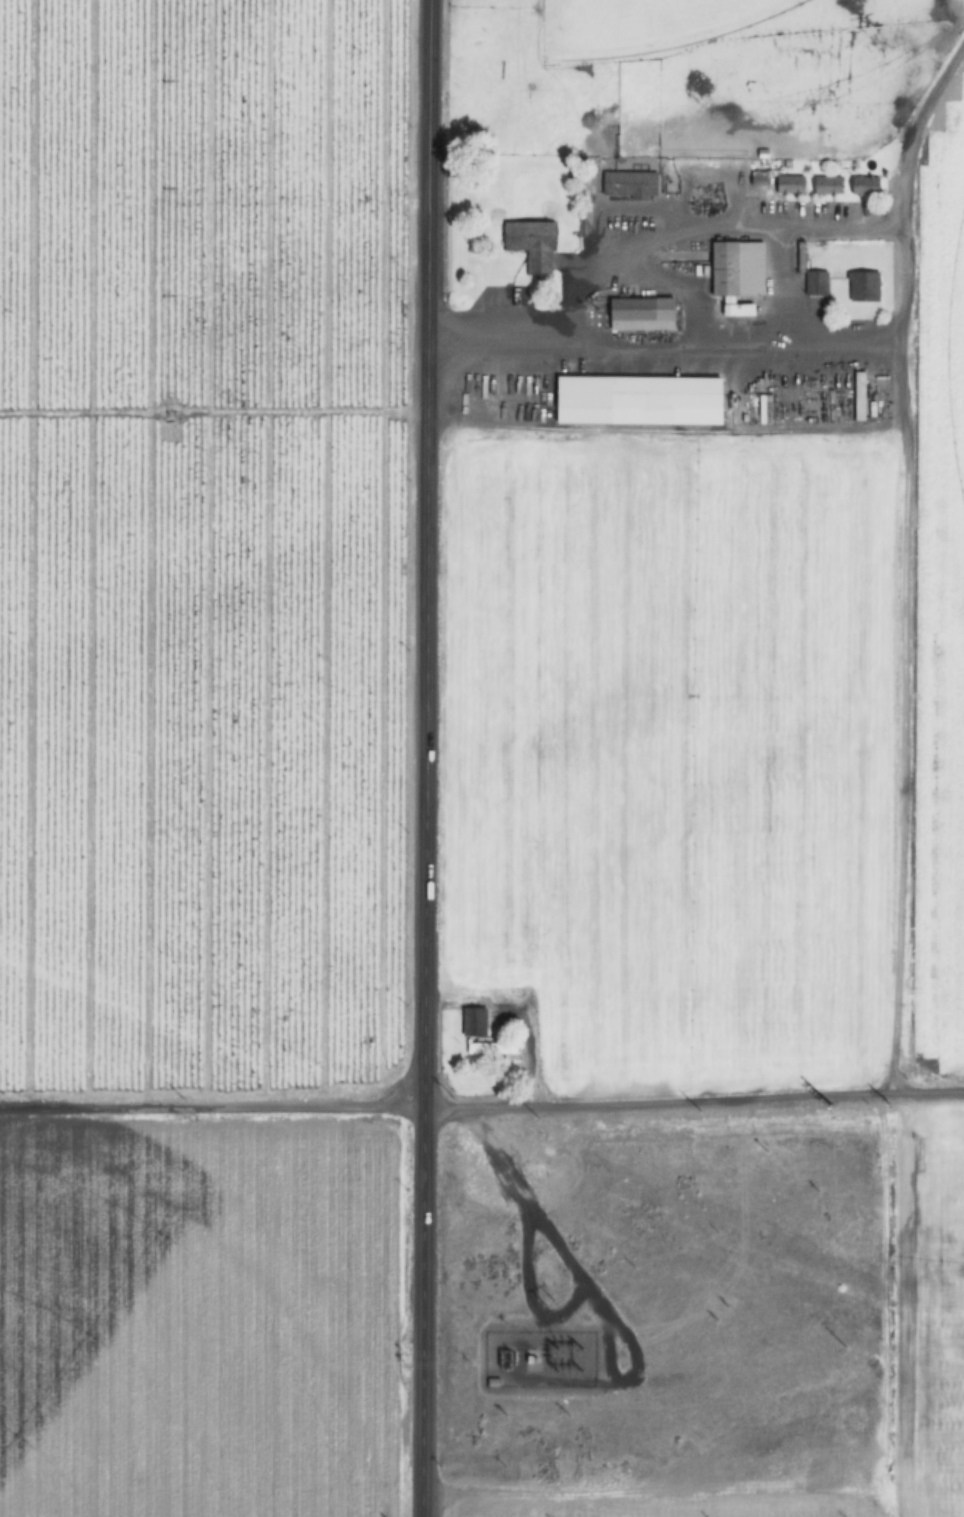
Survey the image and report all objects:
building: (629, 184)
building: (789, 185)
building: (827, 186)
building: (864, 186)
building: (532, 245)
building: (737, 275)
building: (816, 284)
building: (863, 287)
building: (642, 315)
building: (859, 397)
building: (639, 401)
building: (764, 410)
road: (426, 554)
building: (474, 1021)
building: (491, 1048)
road: (482, 1106)
road: (421, 1312)

